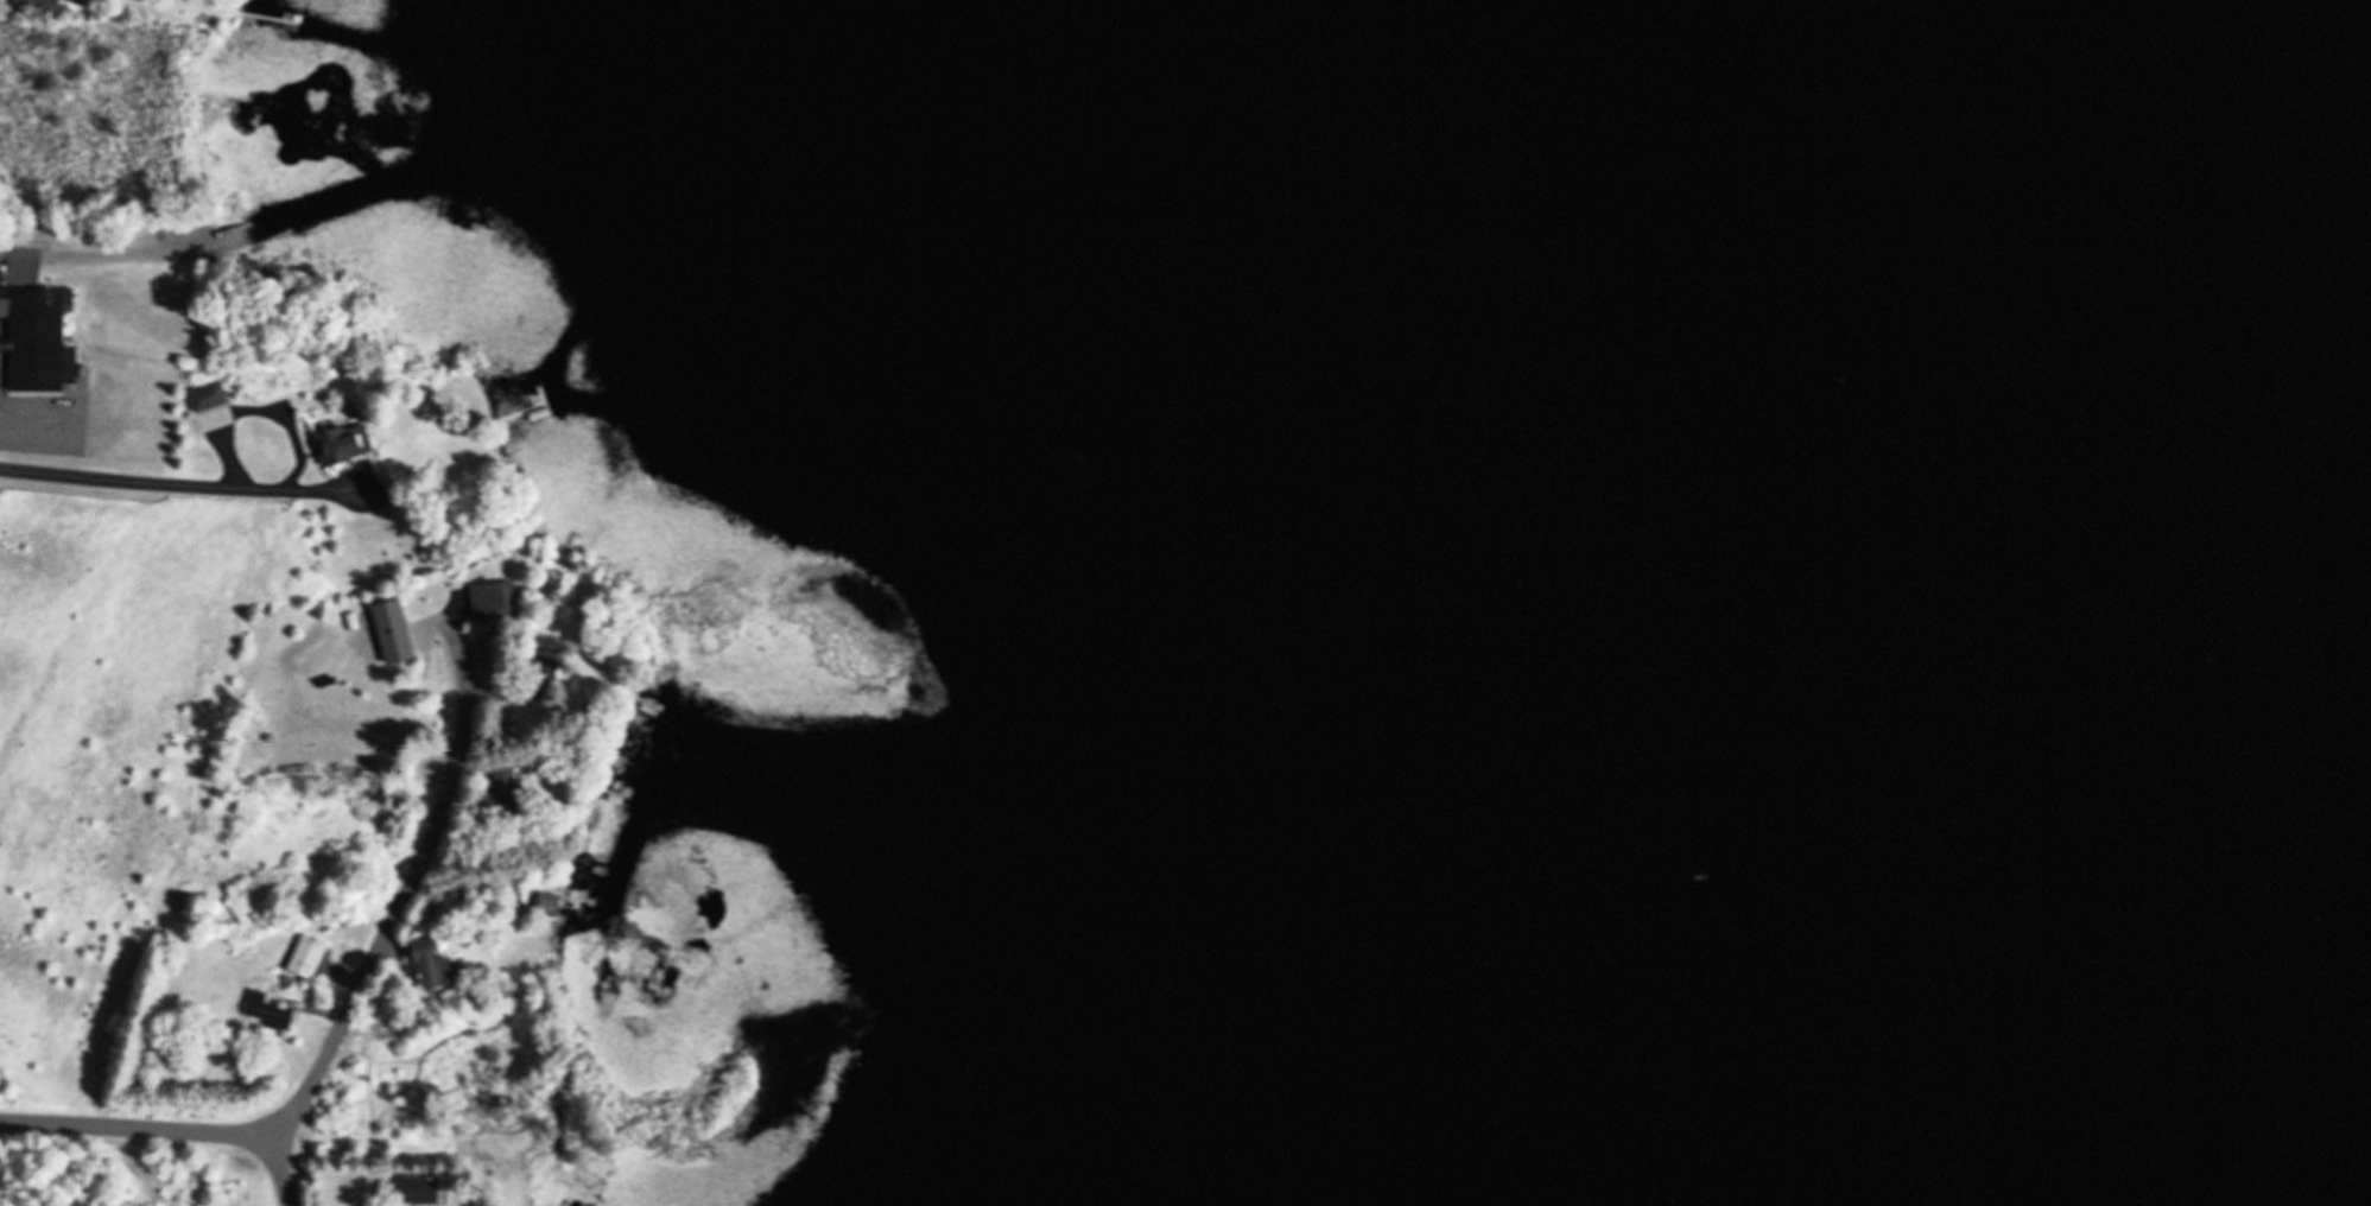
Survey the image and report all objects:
building: (37, 4)
building: (36, 337)
building: (204, 394)
building: (338, 442)
road: (178, 487)
building: (489, 597)
building: (388, 630)
building: (539, 674)
building: (502, 787)
building: (544, 903)
road: (395, 915)
building: (303, 957)
building: (424, 964)
building: (262, 1010)
road: (140, 1128)
building: (417, 1189)

